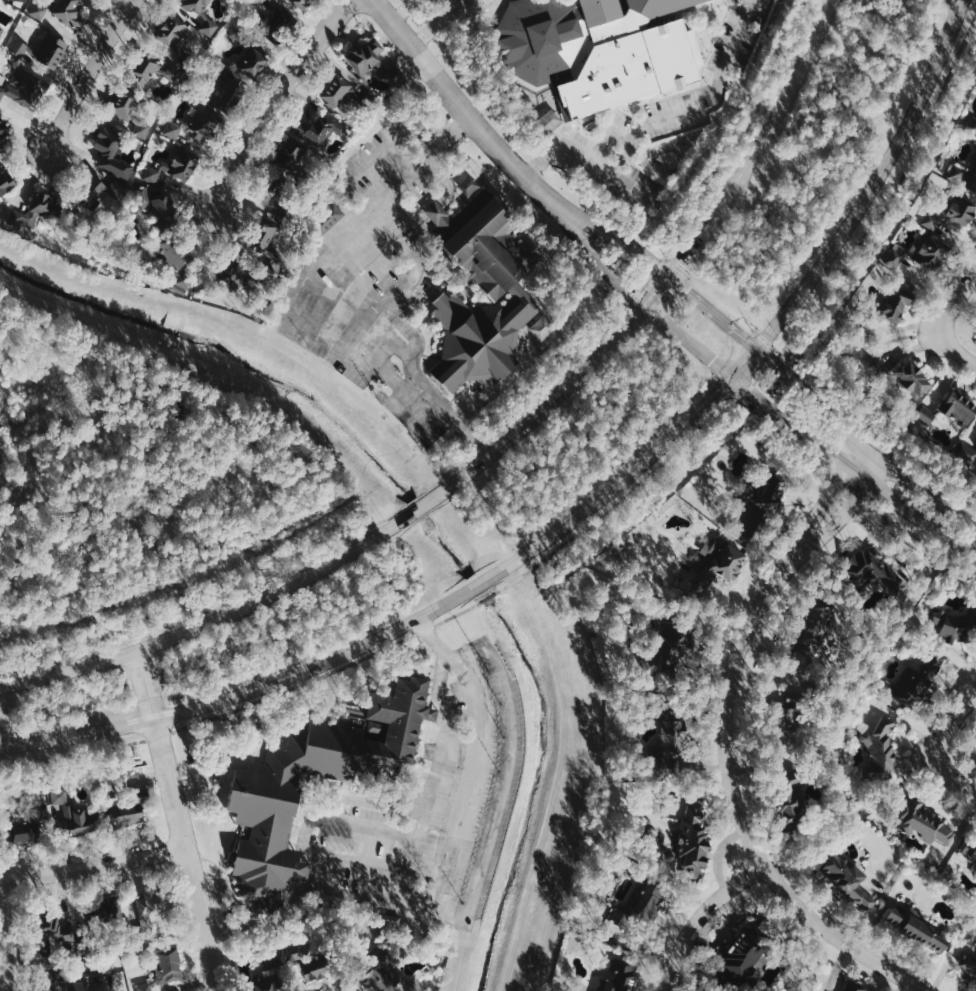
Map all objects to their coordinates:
building: (22, 0)
building: (301, 3)
parking lot: (481, 3)
road: (959, 4)
building: (60, 9)
road: (402, 10)
building: (204, 16)
building: (278, 22)
road: (438, 24)
building: (1, 29)
road: (956, 33)
building: (174, 38)
road: (815, 38)
building: (43, 47)
building: (256, 53)
building: (592, 53)
building: (372, 61)
building: (150, 69)
road: (88, 74)
building: (24, 87)
building: (224, 90)
road: (449, 91)
building: (347, 94)
road: (275, 100)
building: (130, 111)
parking lot: (661, 116)
road: (654, 121)
building: (196, 127)
building: (974, 128)
building: (323, 130)
building: (4, 132)
road: (737, 133)
building: (110, 149)
building: (294, 162)
building: (172, 167)
building: (965, 175)
building: (7, 182)
building: (467, 188)
building: (91, 189)
road: (893, 194)
building: (274, 197)
building: (37, 206)
building: (157, 208)
building: (952, 214)
building: (329, 219)
road: (599, 226)
road: (584, 243)
building: (263, 244)
building: (921, 252)
building: (175, 260)
road: (655, 271)
building: (233, 274)
traffic signals: (670, 276)
parking lot: (375, 282)
road: (406, 285)
building: (518, 292)
road: (957, 302)
traffic signals: (646, 304)
building: (897, 304)
road: (820, 342)
road: (877, 345)
road: (957, 348)
traffic signals: (756, 350)
building: (878, 366)
traffic signals: (729, 376)
road: (759, 376)
road: (560, 378)
building: (914, 379)
road: (759, 397)
road: (818, 404)
building: (961, 409)
building: (927, 415)
road: (872, 420)
road: (479, 449)
building: (966, 453)
road: (872, 467)
road: (468, 471)
building: (769, 489)
road: (926, 516)
road: (818, 517)
road: (594, 521)
road: (832, 528)
road: (558, 529)
building: (723, 567)
building: (870, 569)
road: (248, 593)
building: (955, 625)
building: (817, 626)
road: (425, 630)
building: (669, 649)
building: (912, 680)
road: (296, 686)
building: (790, 712)
road: (442, 719)
road: (951, 723)
road: (160, 735)
building: (668, 744)
building: (880, 746)
road: (72, 753)
road: (951, 775)
building: (262, 800)
parking lot: (449, 803)
building: (792, 803)
building: (76, 812)
building: (127, 812)
road: (740, 813)
road: (178, 821)
building: (924, 822)
building: (24, 832)
building: (694, 840)
building: (971, 849)
road: (93, 867)
road: (414, 872)
building: (851, 880)
building: (651, 900)
building: (149, 910)
building: (107, 911)
road: (699, 916)
building: (920, 929)
building: (59, 934)
road: (4, 937)
building: (274, 957)
building: (969, 963)
building: (169, 965)
building: (312, 968)
building: (110, 969)
building: (390, 976)
building: (621, 977)
building: (57, 980)
building: (268, 982)
building: (89, 984)
building: (856, 986)
building: (146, 987)
building: (41, 989)

